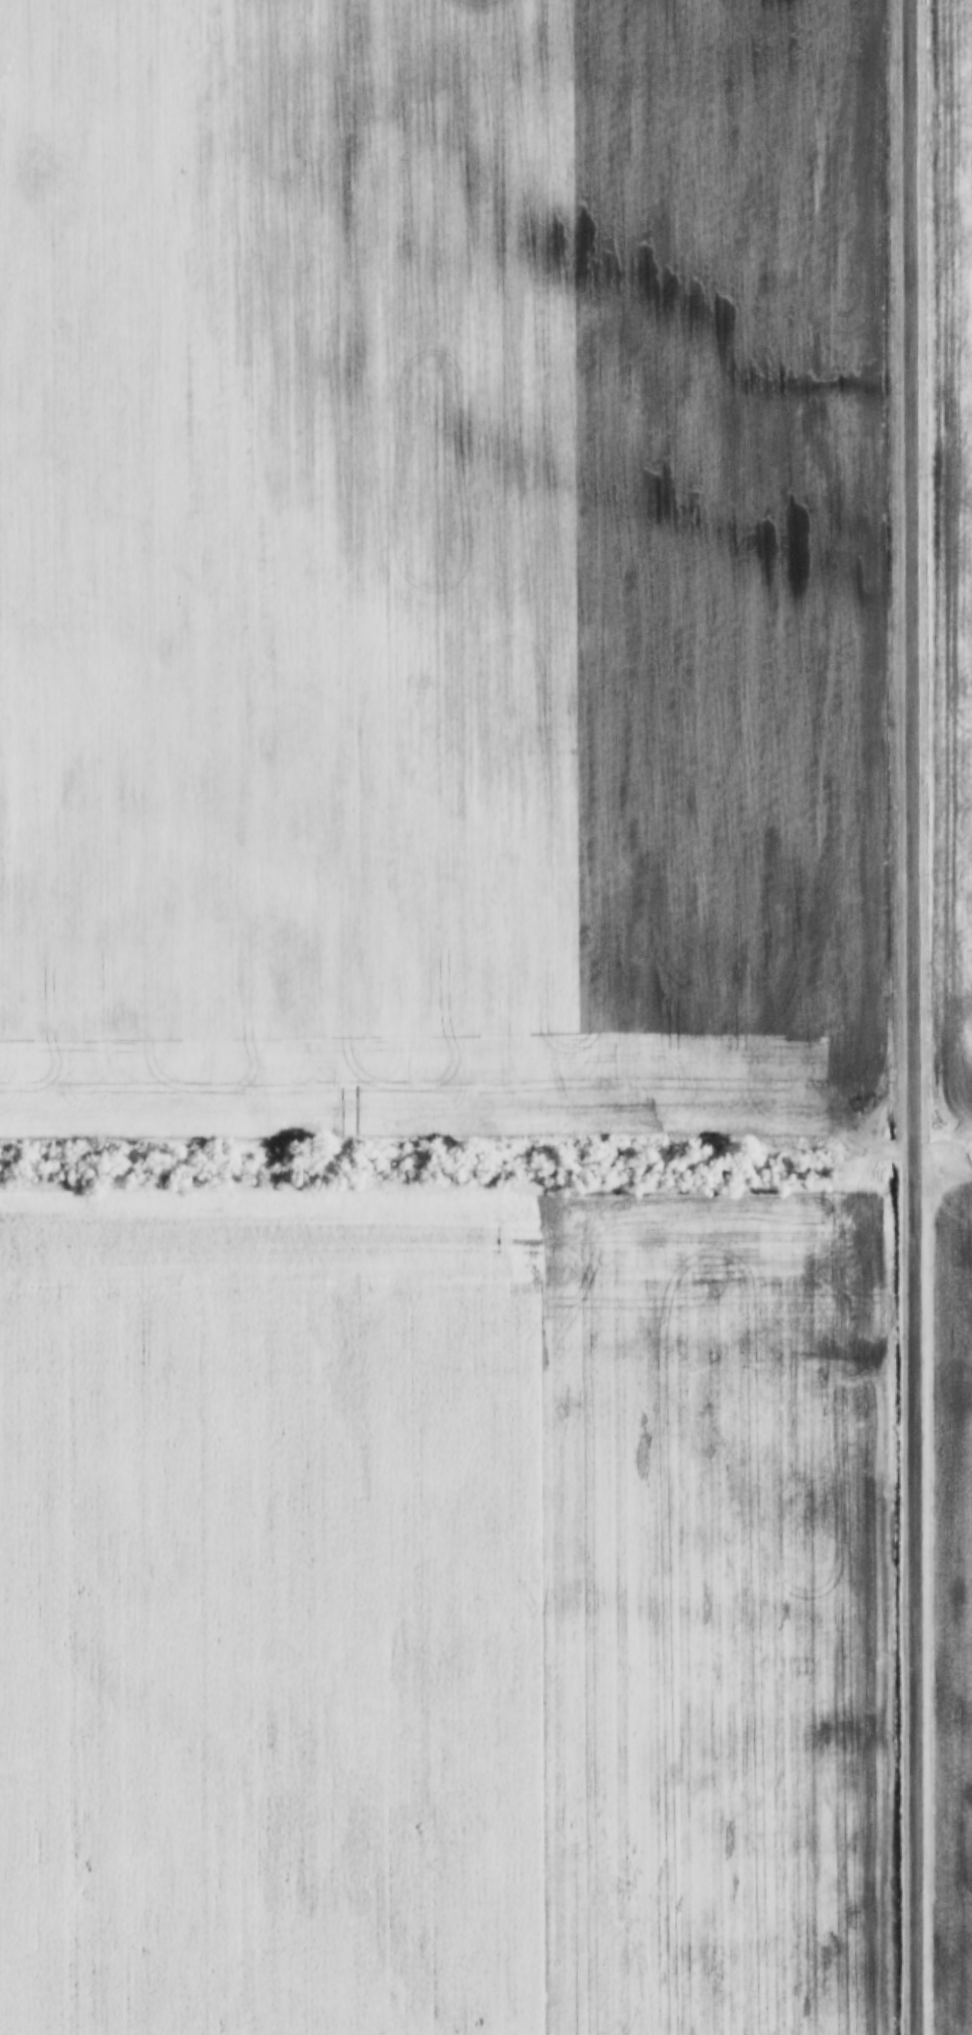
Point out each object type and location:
road: (917, 1017)

